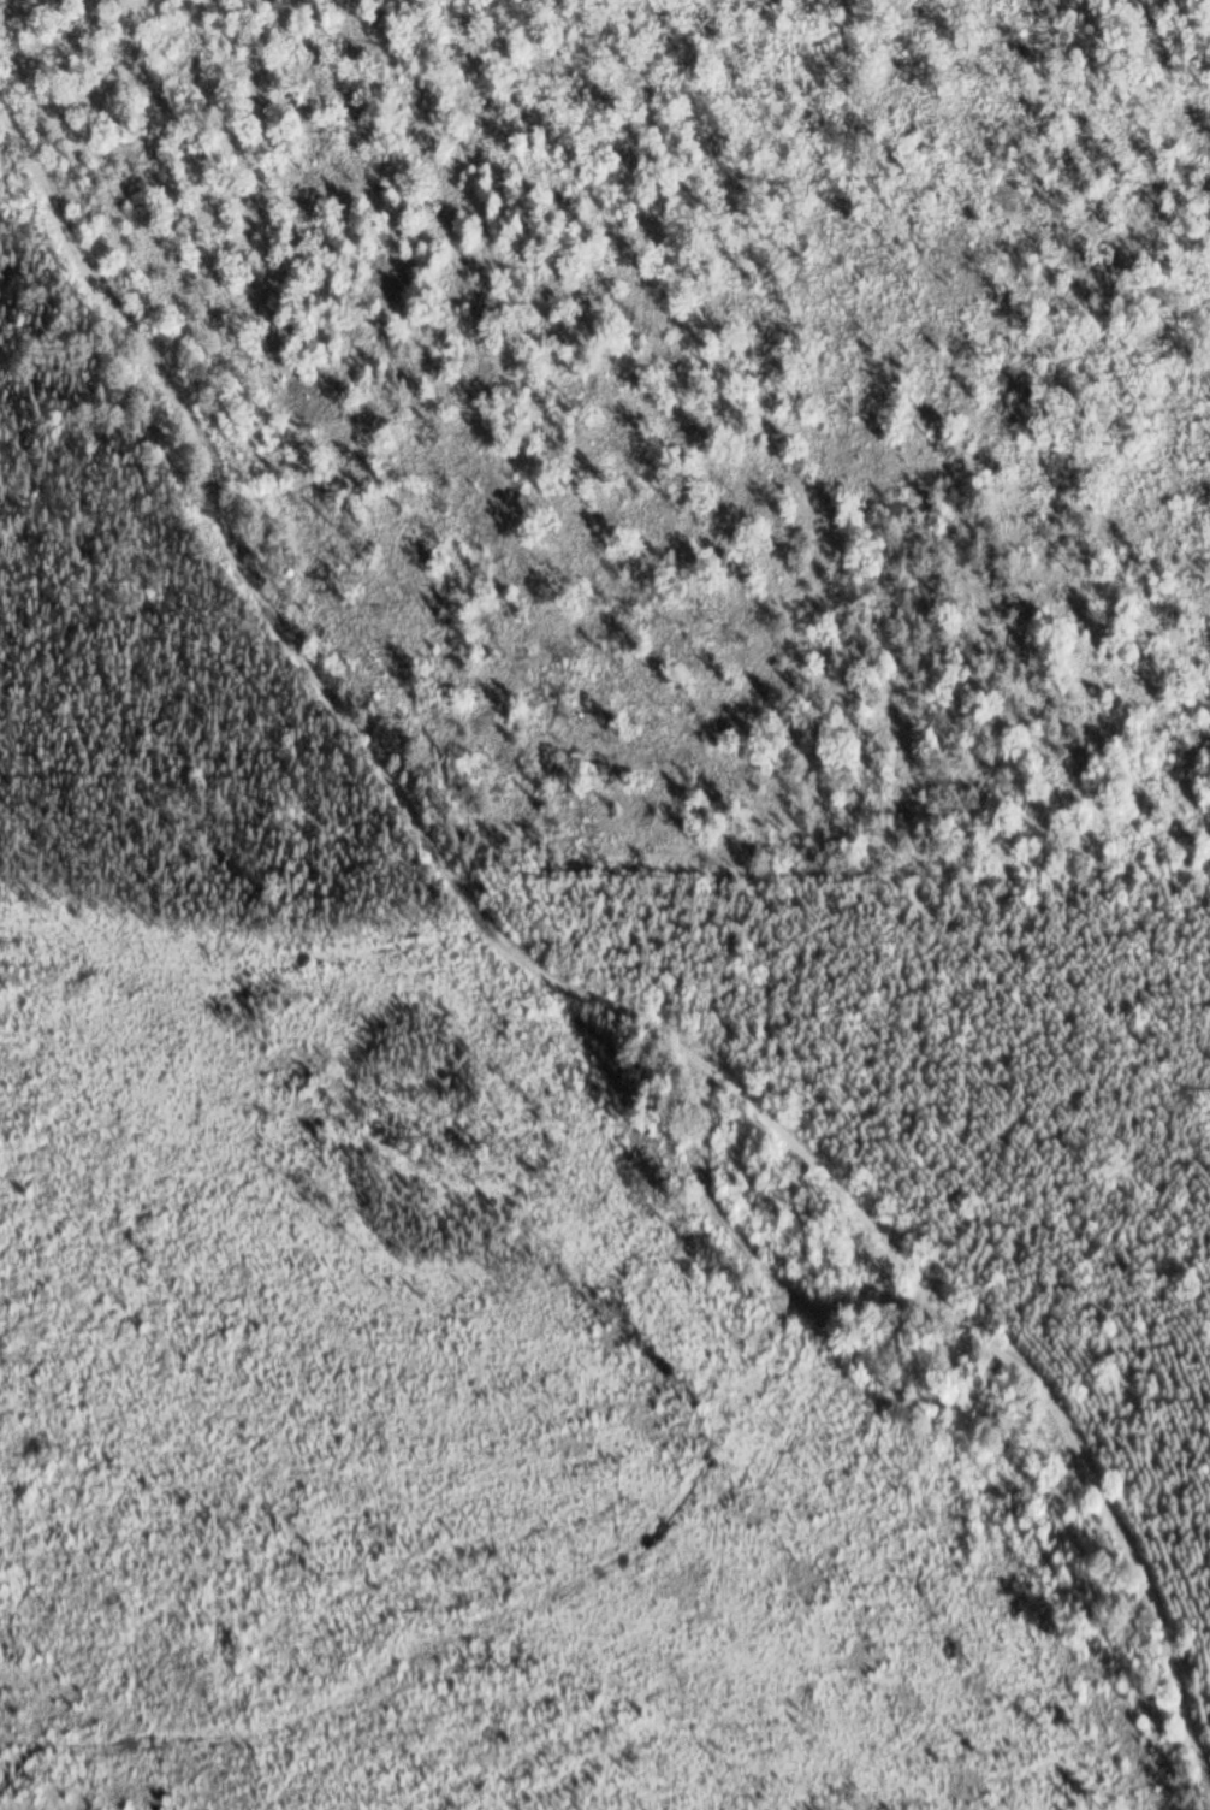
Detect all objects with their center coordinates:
road: (476, 829)
road: (1084, 1435)

